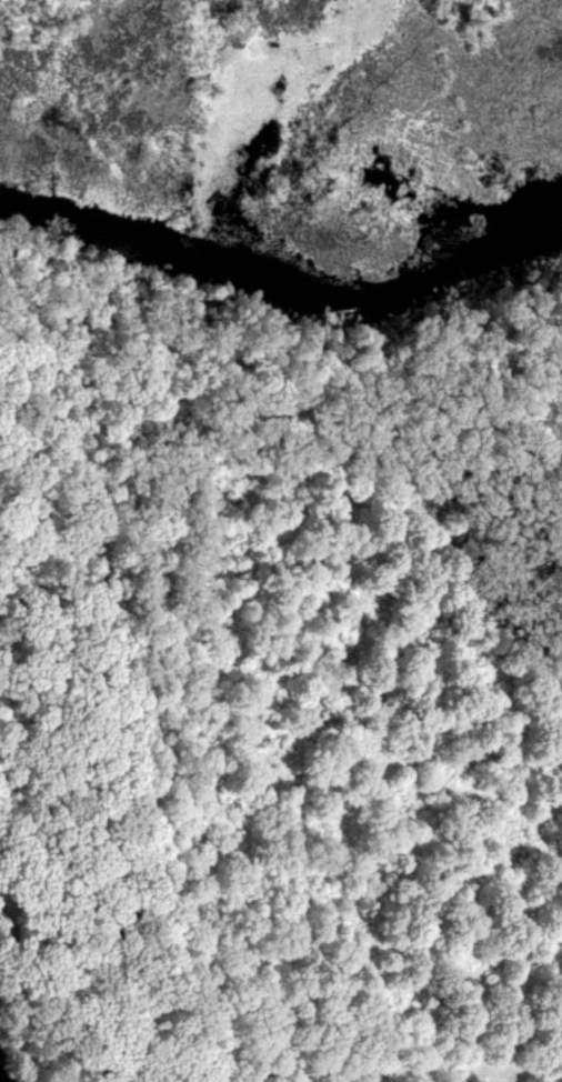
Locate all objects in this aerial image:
river: (280, 290)

